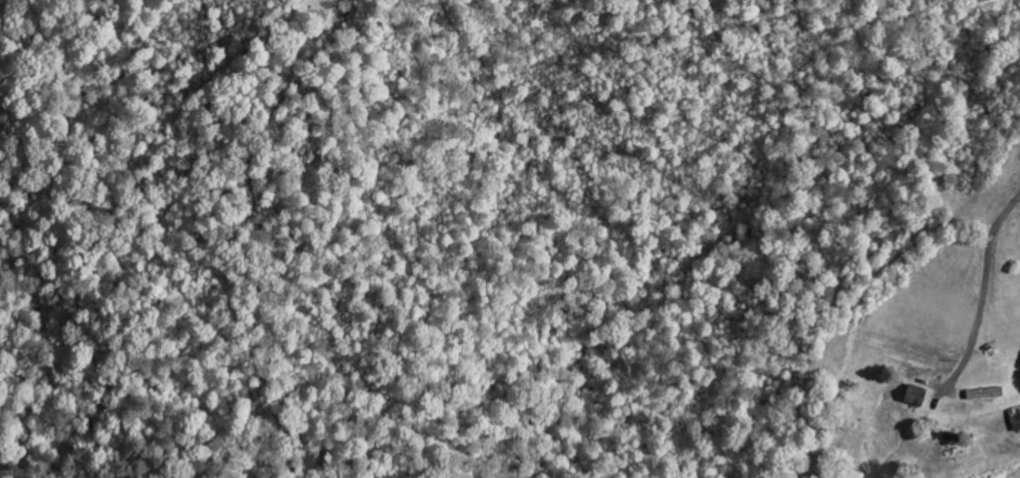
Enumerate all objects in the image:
road: (985, 277)

